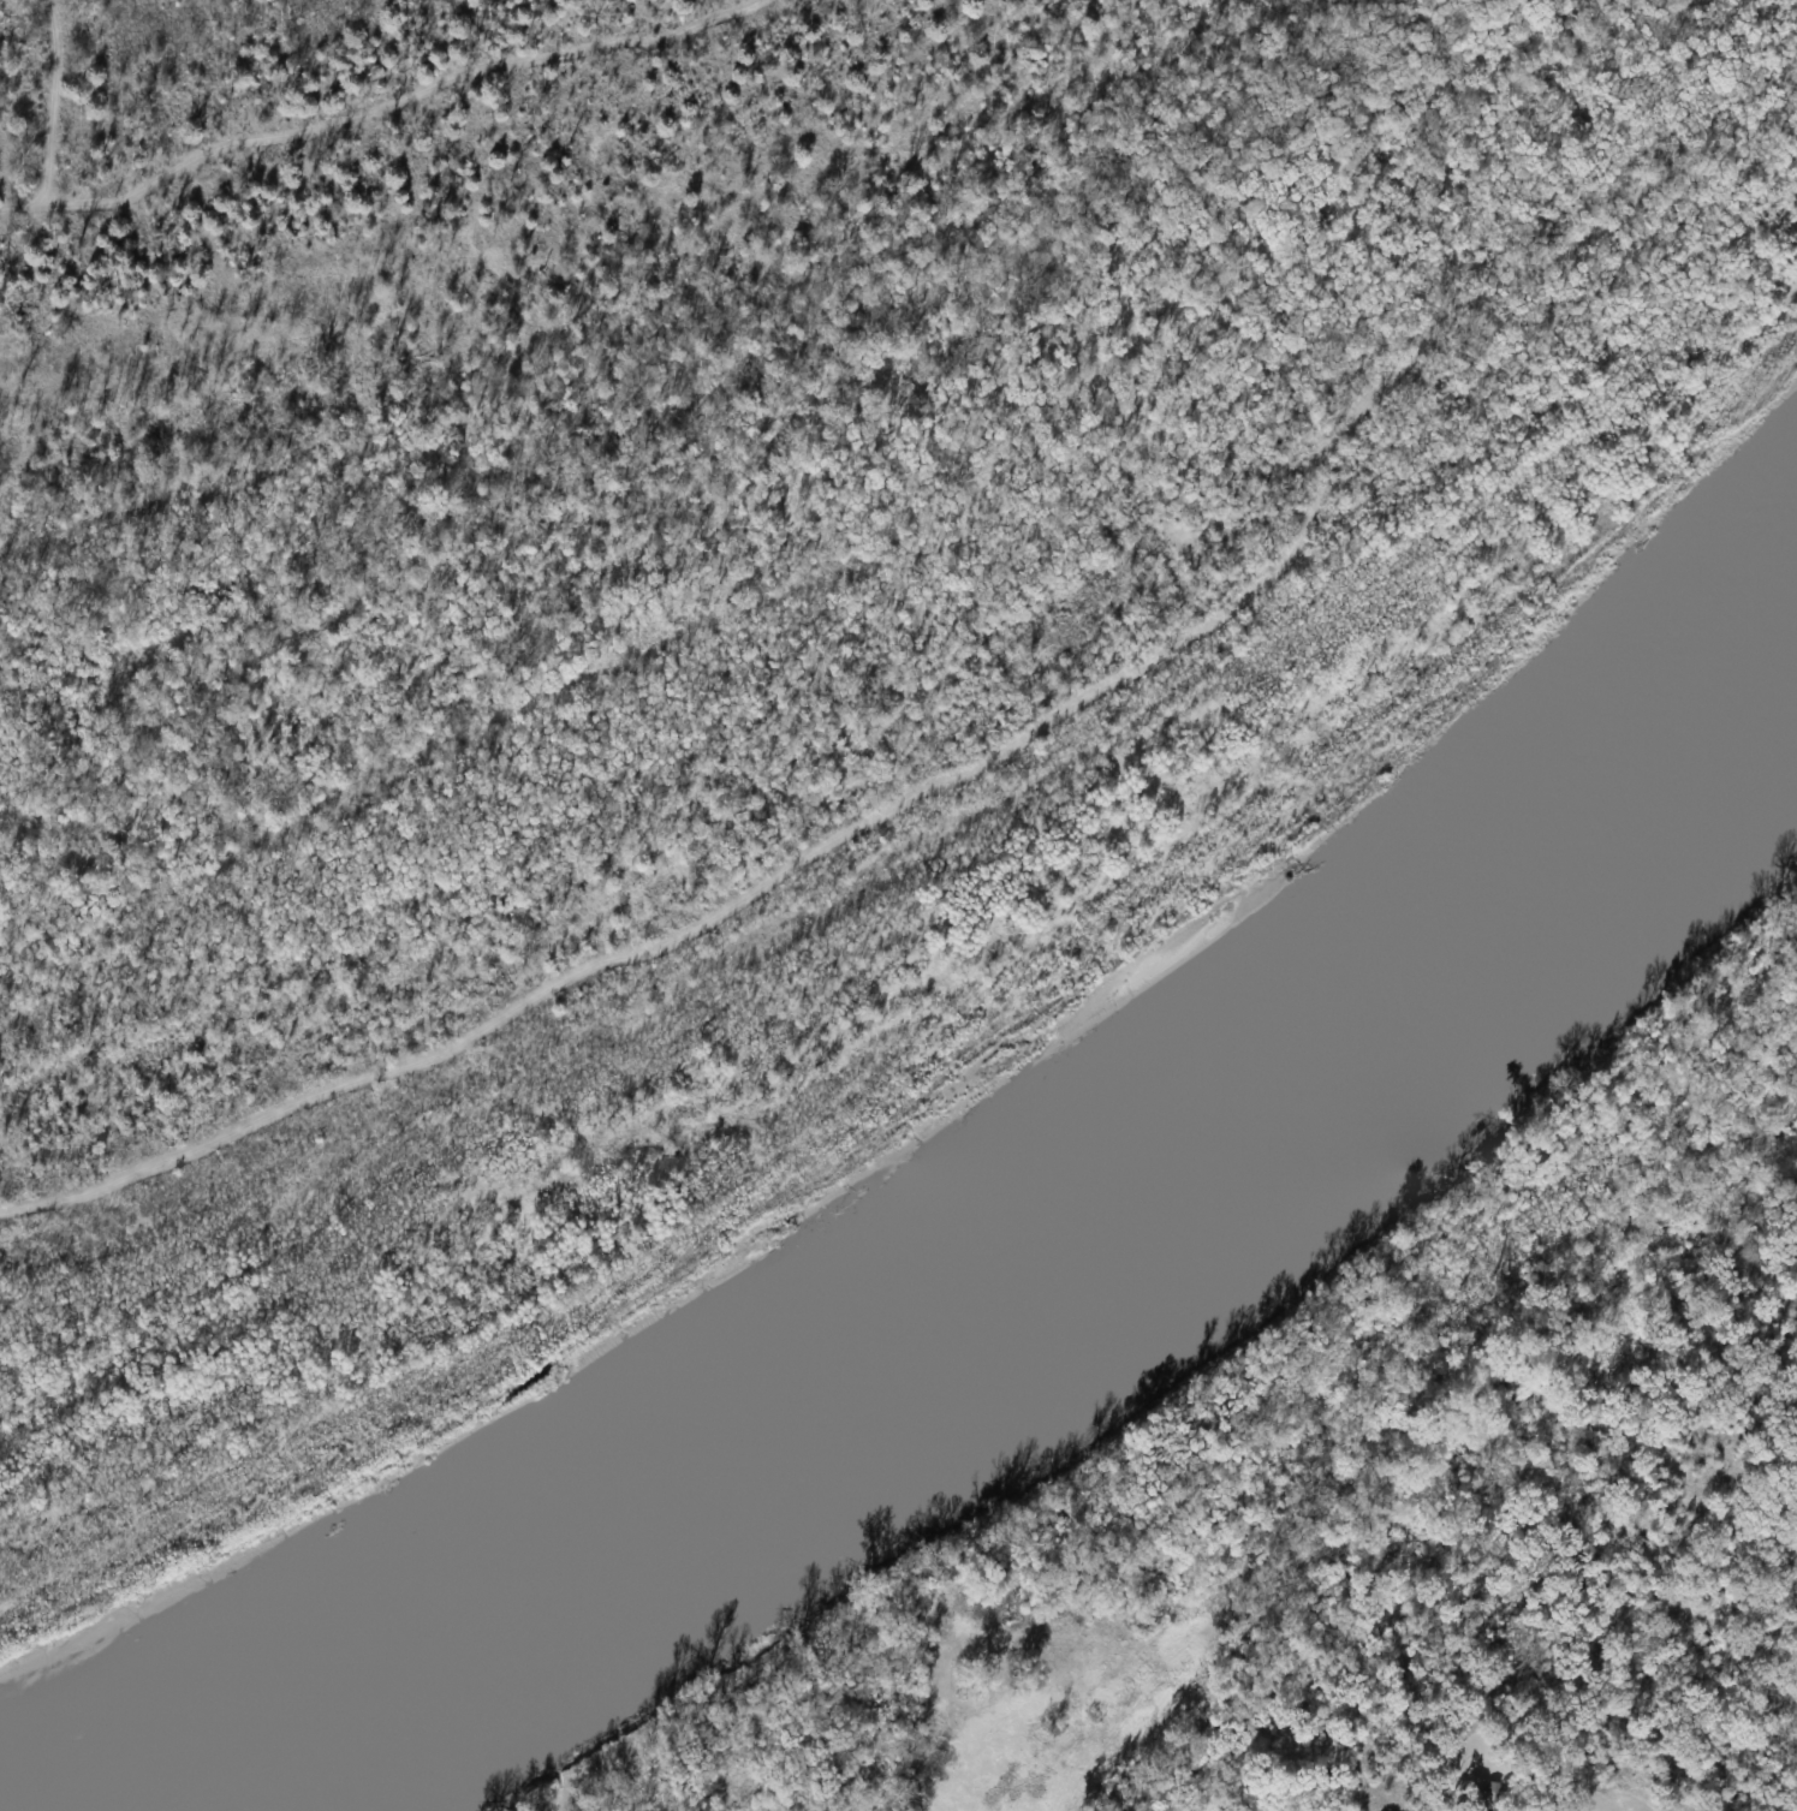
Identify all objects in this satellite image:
river: (938, 1186)
building: (1487, 1799)
road: (1527, 1810)

